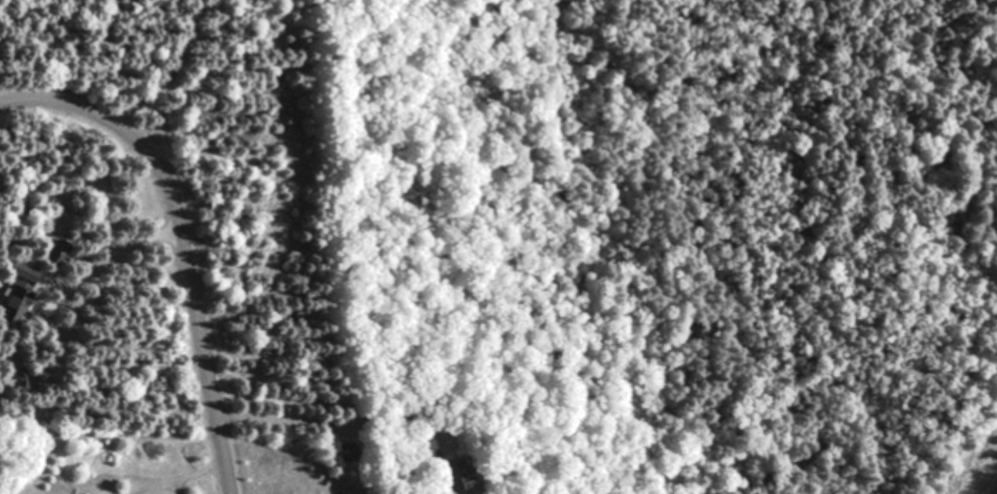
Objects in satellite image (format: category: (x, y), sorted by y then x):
road: (176, 67)
road: (180, 240)
road: (129, 246)
building: (57, 254)
building: (15, 307)
road: (274, 417)

